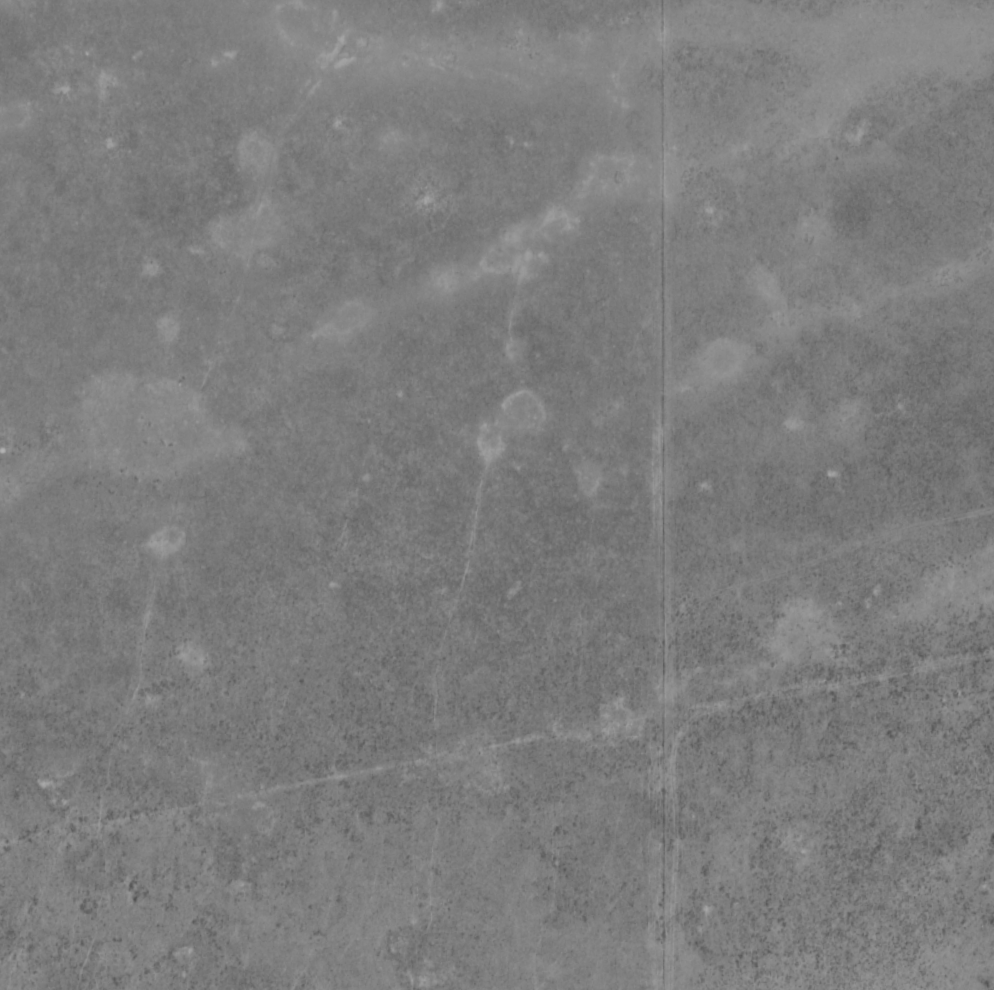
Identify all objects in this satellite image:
road: (682, 822)

